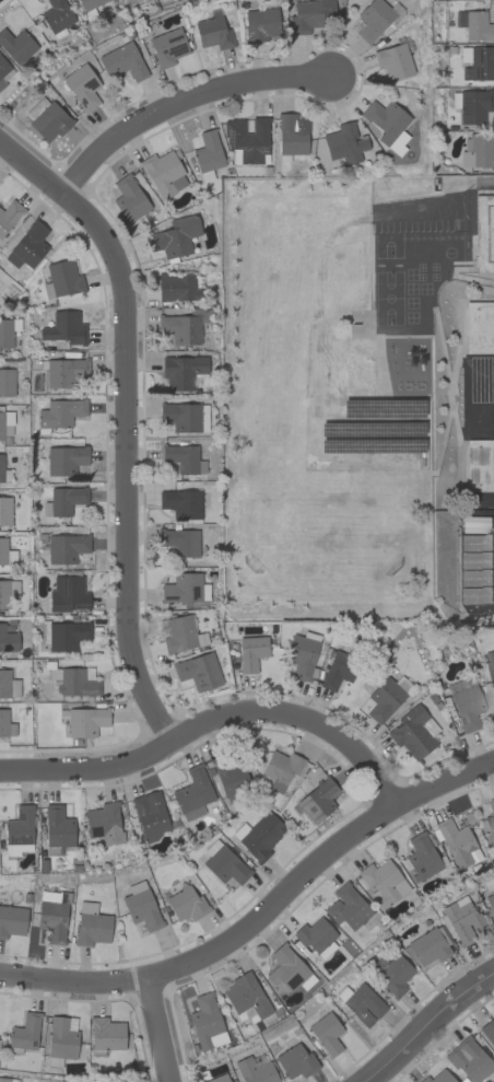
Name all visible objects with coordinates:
building: (91, 3)
building: (308, 15)
building: (57, 18)
building: (372, 20)
building: (260, 24)
building: (478, 26)
building: (212, 33)
building: (16, 45)
building: (166, 47)
building: (393, 61)
building: (121, 62)
building: (477, 62)
building: (4, 71)
building: (82, 86)
road: (179, 103)
building: (471, 106)
building: (46, 119)
building: (385, 120)
building: (292, 135)
building: (247, 138)
building: (344, 143)
building: (478, 151)
building: (208, 152)
building: (164, 174)
road: (458, 183)
building: (129, 198)
building: (9, 216)
building: (484, 233)
building: (174, 237)
building: (27, 246)
building: (61, 279)
building: (177, 287)
building: (479, 327)
building: (64, 328)
building: (179, 328)
building: (5, 333)
building: (64, 372)
building: (7, 382)
building: (60, 412)
building: (180, 417)
building: (5, 424)
road: (125, 426)
building: (179, 458)
building: (64, 459)
building: (480, 465)
building: (1, 468)
building: (63, 501)
building: (180, 503)
building: (4, 511)
building: (180, 542)
building: (475, 543)
building: (66, 548)
building: (2, 550)
building: (475, 560)
building: (475, 578)
building: (13, 587)
building: (185, 589)
building: (3, 594)
building: (69, 595)
building: (475, 595)
building: (43, 631)
building: (177, 633)
building: (66, 636)
building: (8, 640)
building: (251, 653)
building: (302, 656)
building: (491, 665)
building: (338, 671)
building: (198, 672)
building: (73, 680)
building: (8, 685)
building: (459, 685)
building: (384, 699)
building: (467, 708)
building: (85, 722)
road: (209, 722)
building: (5, 724)
building: (413, 732)
building: (280, 769)
building: (231, 776)
building: (192, 793)
building: (318, 801)
building: (150, 814)
building: (102, 821)
building: (490, 822)
building: (57, 827)
building: (19, 831)
building: (259, 836)
building: (493, 842)
building: (457, 844)
building: (421, 857)
building: (223, 863)
building: (383, 883)
building: (493, 886)
building: (186, 905)
building: (491, 905)
building: (346, 907)
building: (141, 909)
road: (261, 909)
building: (54, 917)
building: (462, 919)
building: (12, 921)
building: (91, 926)
building: (314, 934)
building: (427, 946)
building: (285, 968)
building: (392, 974)
building: (245, 994)
building: (361, 1003)
building: (205, 1022)
road: (425, 1023)
road: (157, 1027)
building: (489, 1031)
building: (24, 1034)
building: (106, 1034)
building: (326, 1034)
building: (61, 1037)
building: (295, 1061)
building: (471, 1061)
building: (254, 1071)
building: (438, 1078)
building: (219, 1079)
building: (4, 1080)

